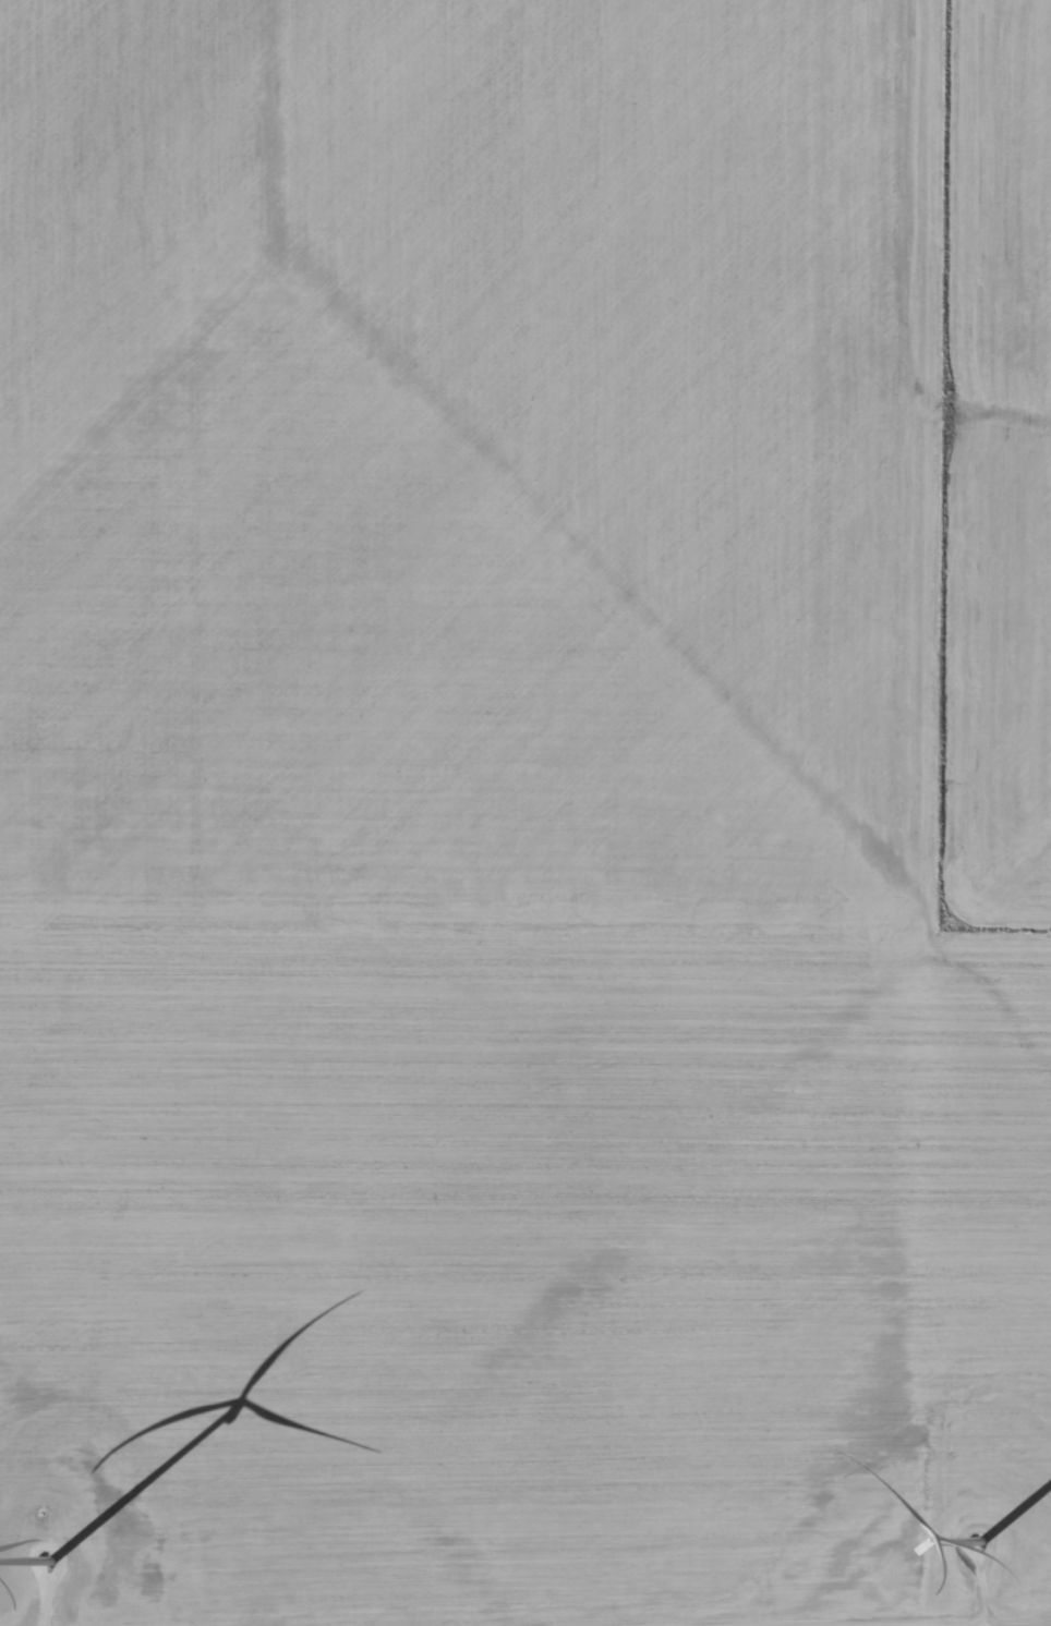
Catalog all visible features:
wind turbine: (946, 1562)
wind turbine: (56, 1567)

